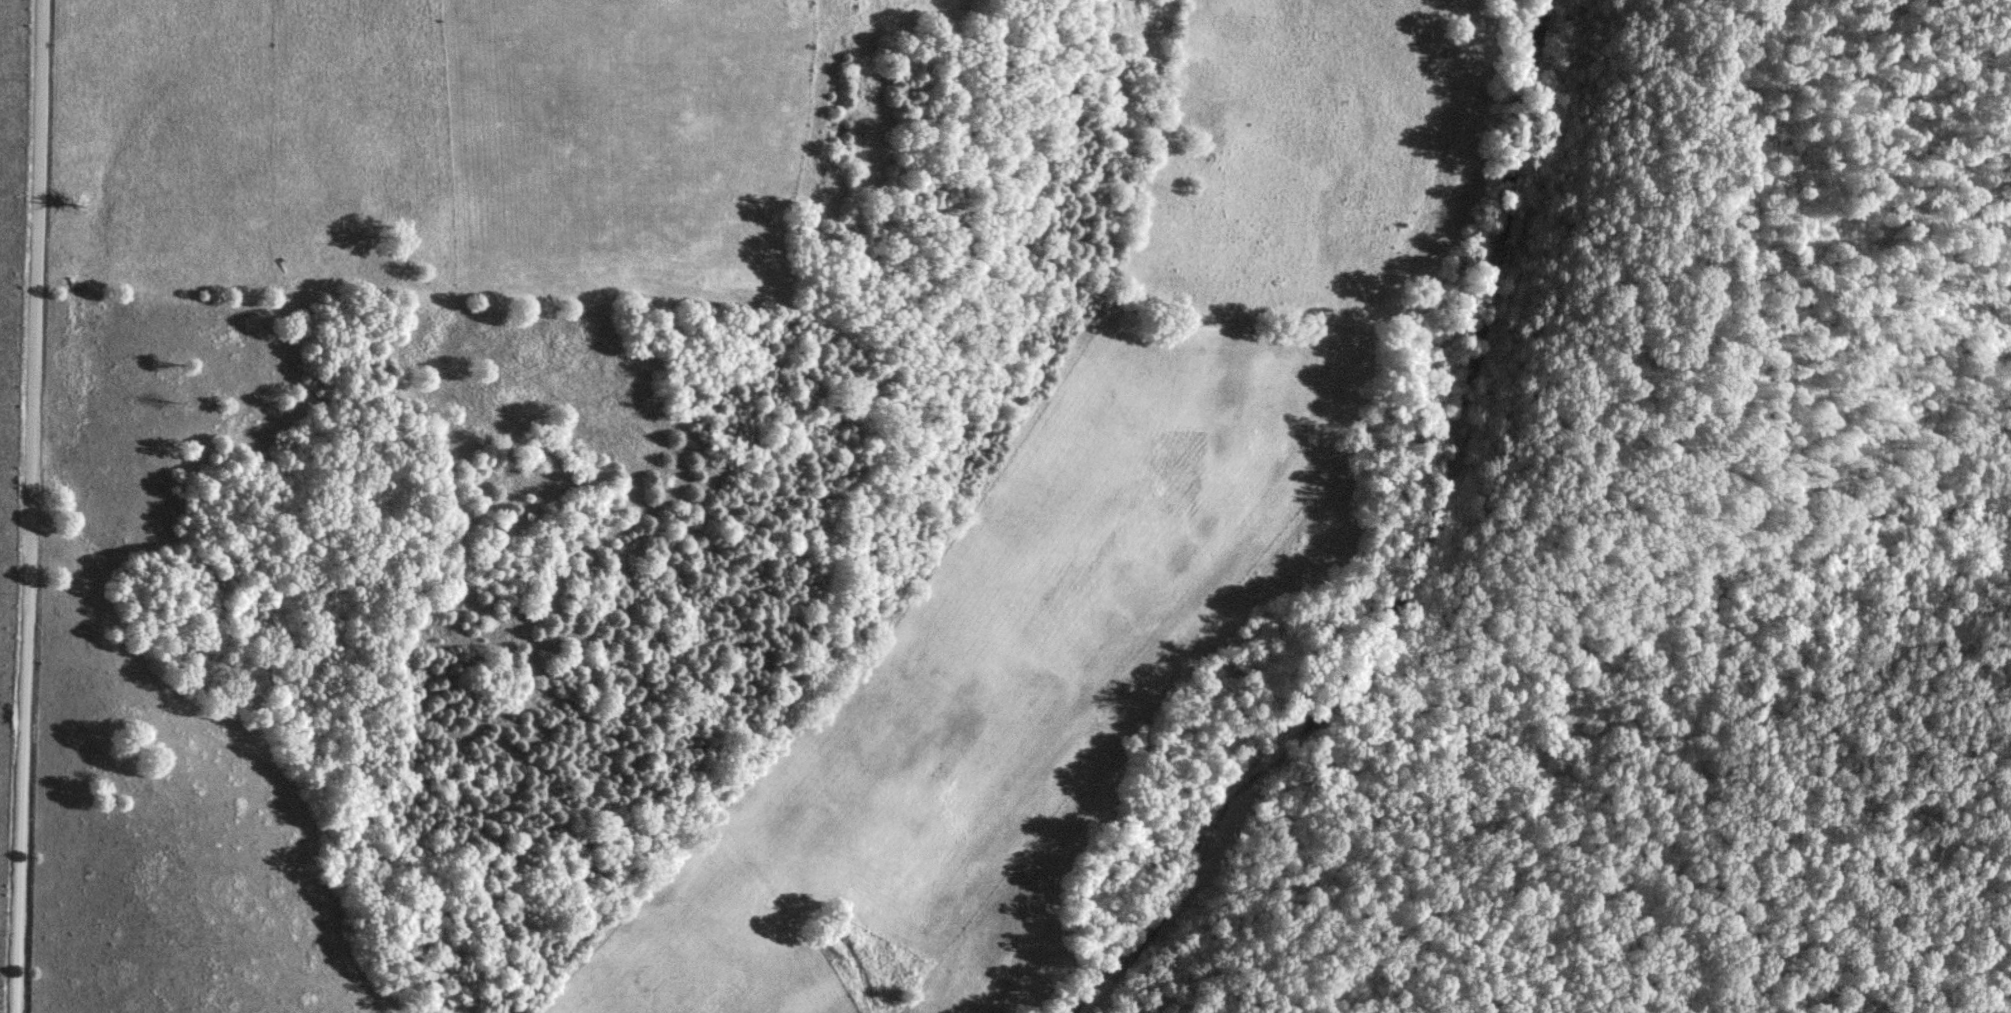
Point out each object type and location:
road: (34, 506)

